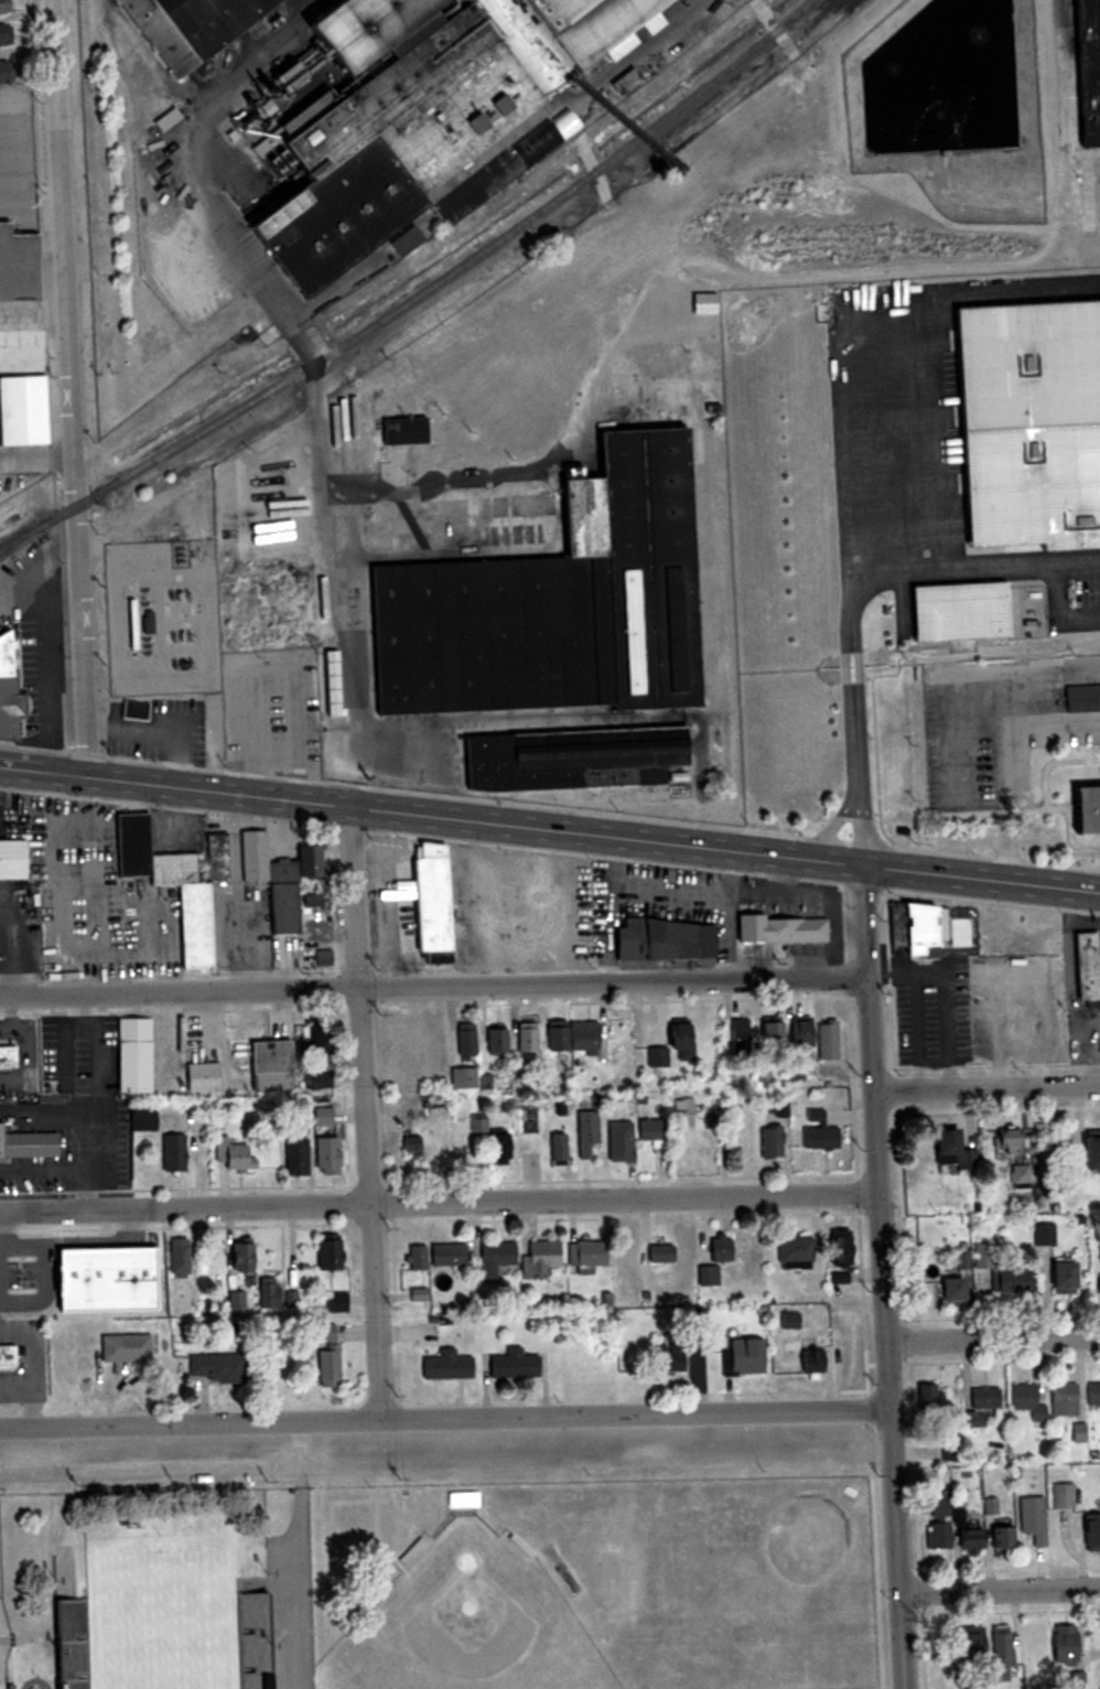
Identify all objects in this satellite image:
building: (8, 7)
road: (671, 29)
building: (213, 31)
building: (9, 36)
building: (567, 36)
building: (9, 72)
railway: (427, 302)
building: (19, 340)
road: (68, 386)
building: (1032, 427)
building: (402, 429)
building: (964, 612)
building: (560, 613)
building: (136, 617)
road: (46, 620)
building: (330, 667)
building: (9, 689)
building: (1081, 697)
building: (132, 710)
road: (1007, 757)
building: (1086, 793)
road: (549, 828)
road: (828, 837)
building: (13, 859)
building: (276, 878)
building: (176, 883)
building: (427, 900)
building: (778, 928)
building: (913, 930)
building: (660, 940)
building: (1083, 966)
road: (433, 988)
road: (870, 1011)
building: (738, 1032)
building: (797, 1033)
building: (768, 1034)
building: (552, 1035)
building: (580, 1035)
building: (525, 1036)
building: (316, 1040)
building: (824, 1040)
building: (464, 1041)
building: (494, 1041)
building: (673, 1047)
building: (8, 1055)
building: (131, 1055)
building: (268, 1056)
building: (199, 1077)
building: (461, 1077)
road: (988, 1088)
road: (368, 1111)
building: (477, 1123)
building: (665, 1123)
building: (721, 1127)
building: (817, 1131)
building: (584, 1132)
building: (617, 1141)
building: (768, 1141)
building: (1009, 1142)
building: (28, 1143)
building: (409, 1144)
building: (947, 1147)
building: (495, 1148)
building: (556, 1150)
building: (1088, 1151)
building: (171, 1153)
building: (233, 1155)
building: (323, 1155)
building: (291, 1157)
building: (1018, 1171)
road: (440, 1202)
building: (837, 1247)
building: (718, 1248)
building: (792, 1251)
building: (326, 1252)
building: (659, 1252)
building: (240, 1254)
building: (584, 1254)
building: (445, 1256)
building: (180, 1257)
building: (416, 1257)
building: (493, 1258)
building: (538, 1258)
building: (1052, 1263)
building: (1000, 1272)
building: (707, 1274)
building: (1098, 1274)
building: (108, 1276)
building: (946, 1289)
building: (266, 1292)
building: (334, 1302)
building: (788, 1321)
road: (993, 1338)
building: (123, 1348)
building: (673, 1351)
building: (325, 1355)
building: (743, 1356)
building: (8, 1357)
building: (805, 1358)
building: (511, 1365)
building: (446, 1366)
building: (215, 1368)
building: (1092, 1394)
building: (1063, 1399)
building: (1026, 1401)
building: (980, 1406)
road: (445, 1418)
building: (1060, 1496)
building: (461, 1499)
building: (1031, 1519)
building: (1090, 1531)
building: (950, 1536)
building: (996, 1537)
road: (897, 1549)
road: (299, 1554)
park: (754, 1582)
road: (1000, 1590)
park: (465, 1624)
building: (251, 1640)
building: (968, 1643)
building: (68, 1644)
building: (1060, 1646)
building: (1000, 1653)
building: (1075, 1680)

